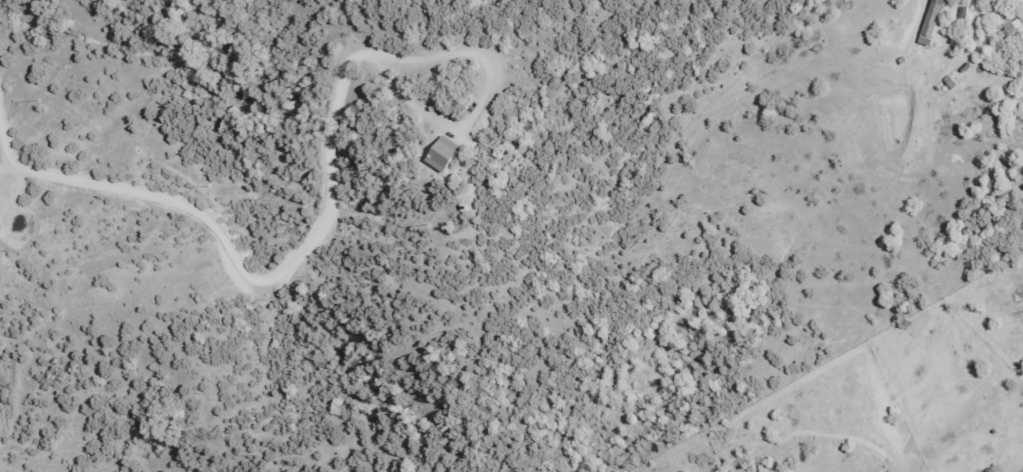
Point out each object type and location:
building: (1001, 19)
building: (928, 22)

